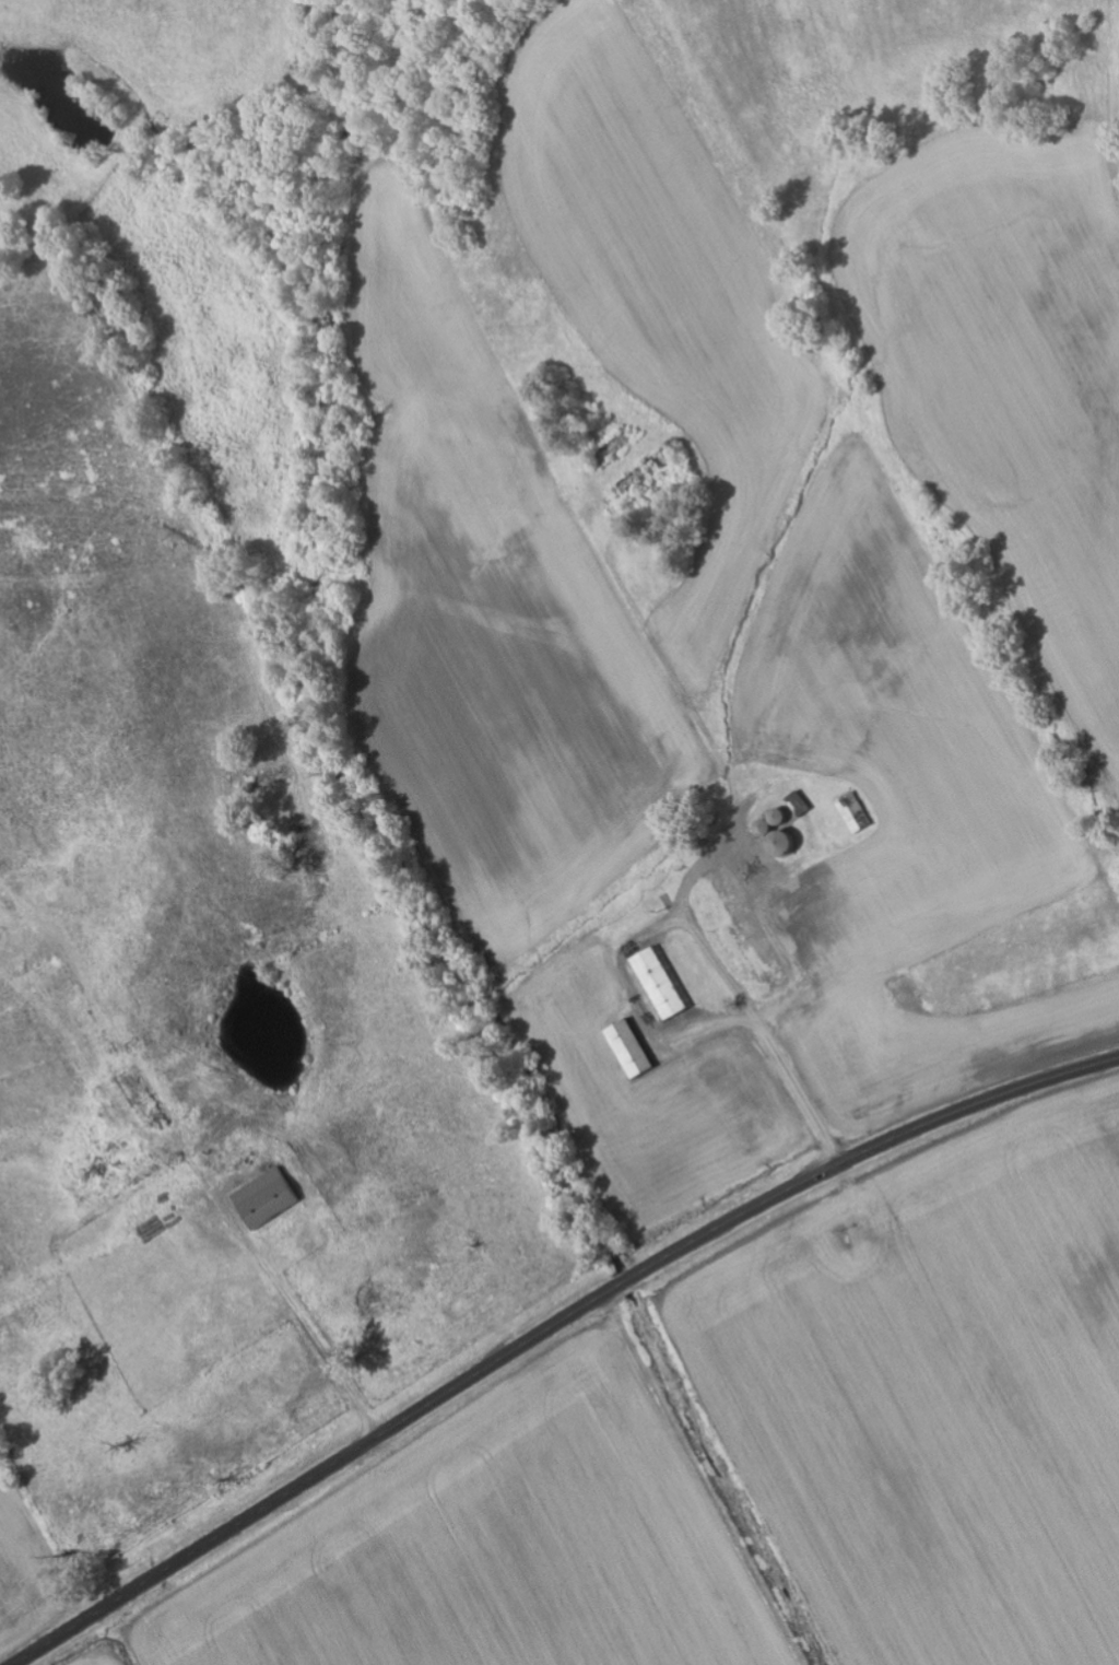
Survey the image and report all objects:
road: (893, 436)
building: (801, 802)
building: (856, 812)
building: (661, 984)
building: (634, 1048)
building: (270, 1198)
road: (552, 1333)

